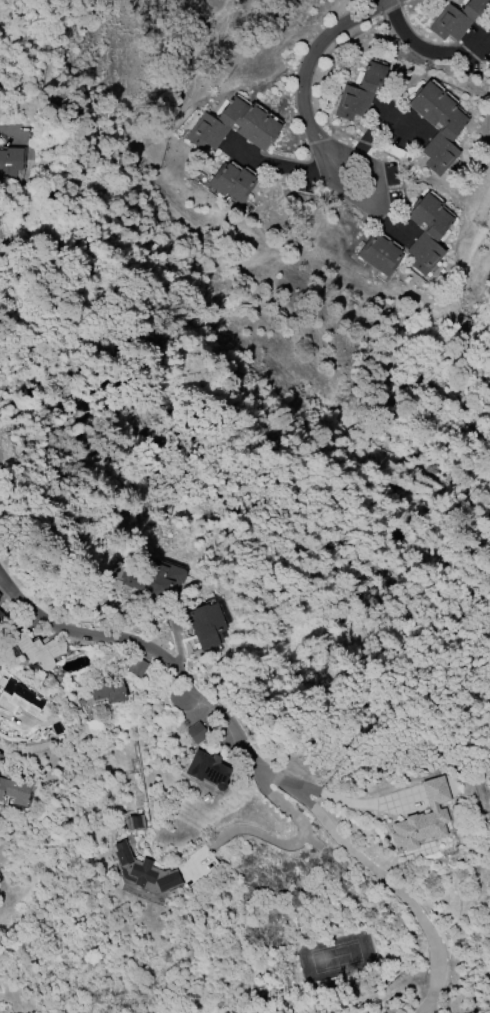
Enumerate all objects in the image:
building: (456, 18)
building: (488, 30)
road: (424, 50)
building: (489, 65)
road: (305, 93)
building: (359, 93)
building: (235, 121)
road: (9, 132)
building: (446, 132)
road: (373, 134)
building: (10, 162)
road: (274, 166)
building: (232, 183)
building: (426, 233)
building: (379, 254)
building: (154, 577)
building: (0, 596)
building: (1, 617)
building: (205, 625)
building: (38, 650)
road: (152, 651)
building: (137, 666)
building: (107, 690)
building: (19, 699)
building: (196, 733)
road: (36, 759)
building: (206, 769)
building: (16, 789)
road: (370, 816)
building: (423, 817)
building: (135, 820)
road: (291, 849)
building: (142, 871)
road: (396, 880)

